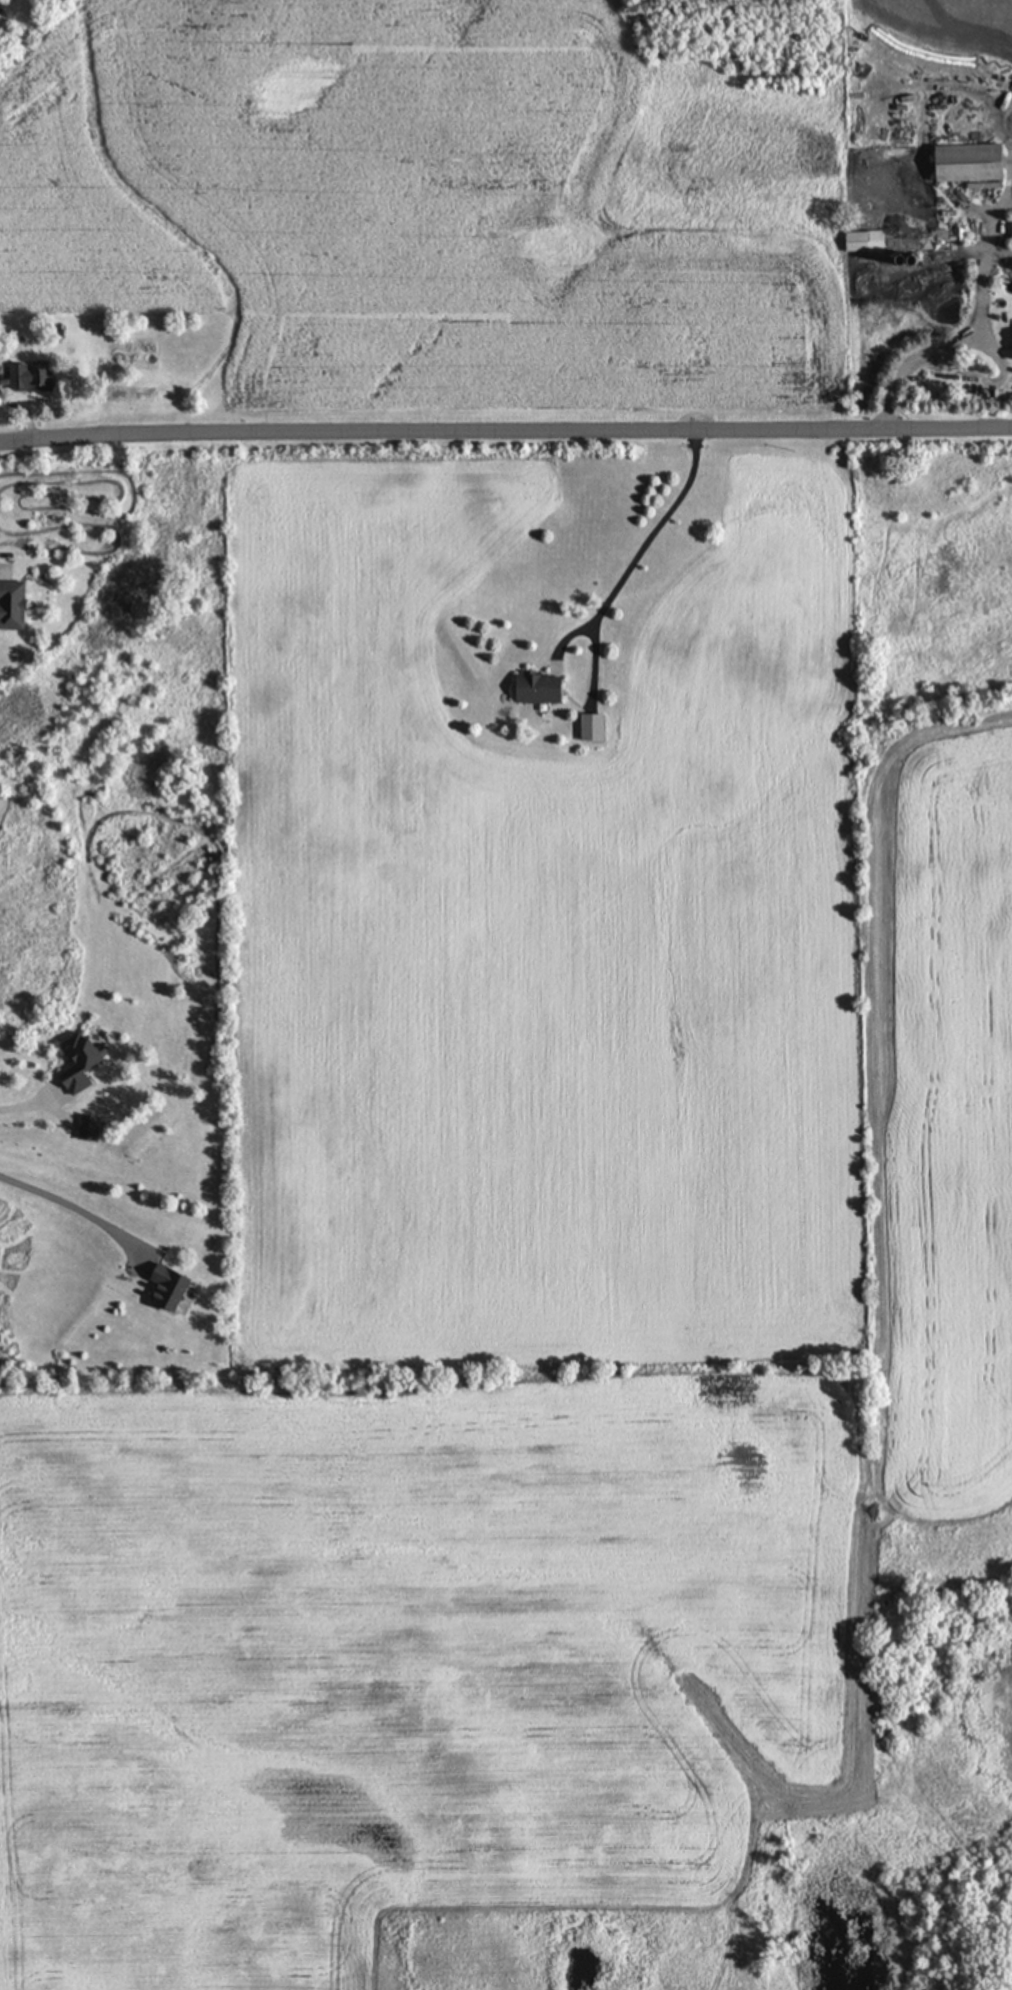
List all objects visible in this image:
building: (978, 162)
road: (992, 224)
building: (910, 240)
road: (999, 254)
road: (946, 348)
building: (37, 378)
road: (997, 380)
road: (505, 427)
road: (639, 547)
building: (20, 603)
building: (545, 687)
building: (597, 727)
building: (84, 1061)
road: (25, 1106)
building: (90, 1127)
road: (76, 1208)
building: (173, 1286)

